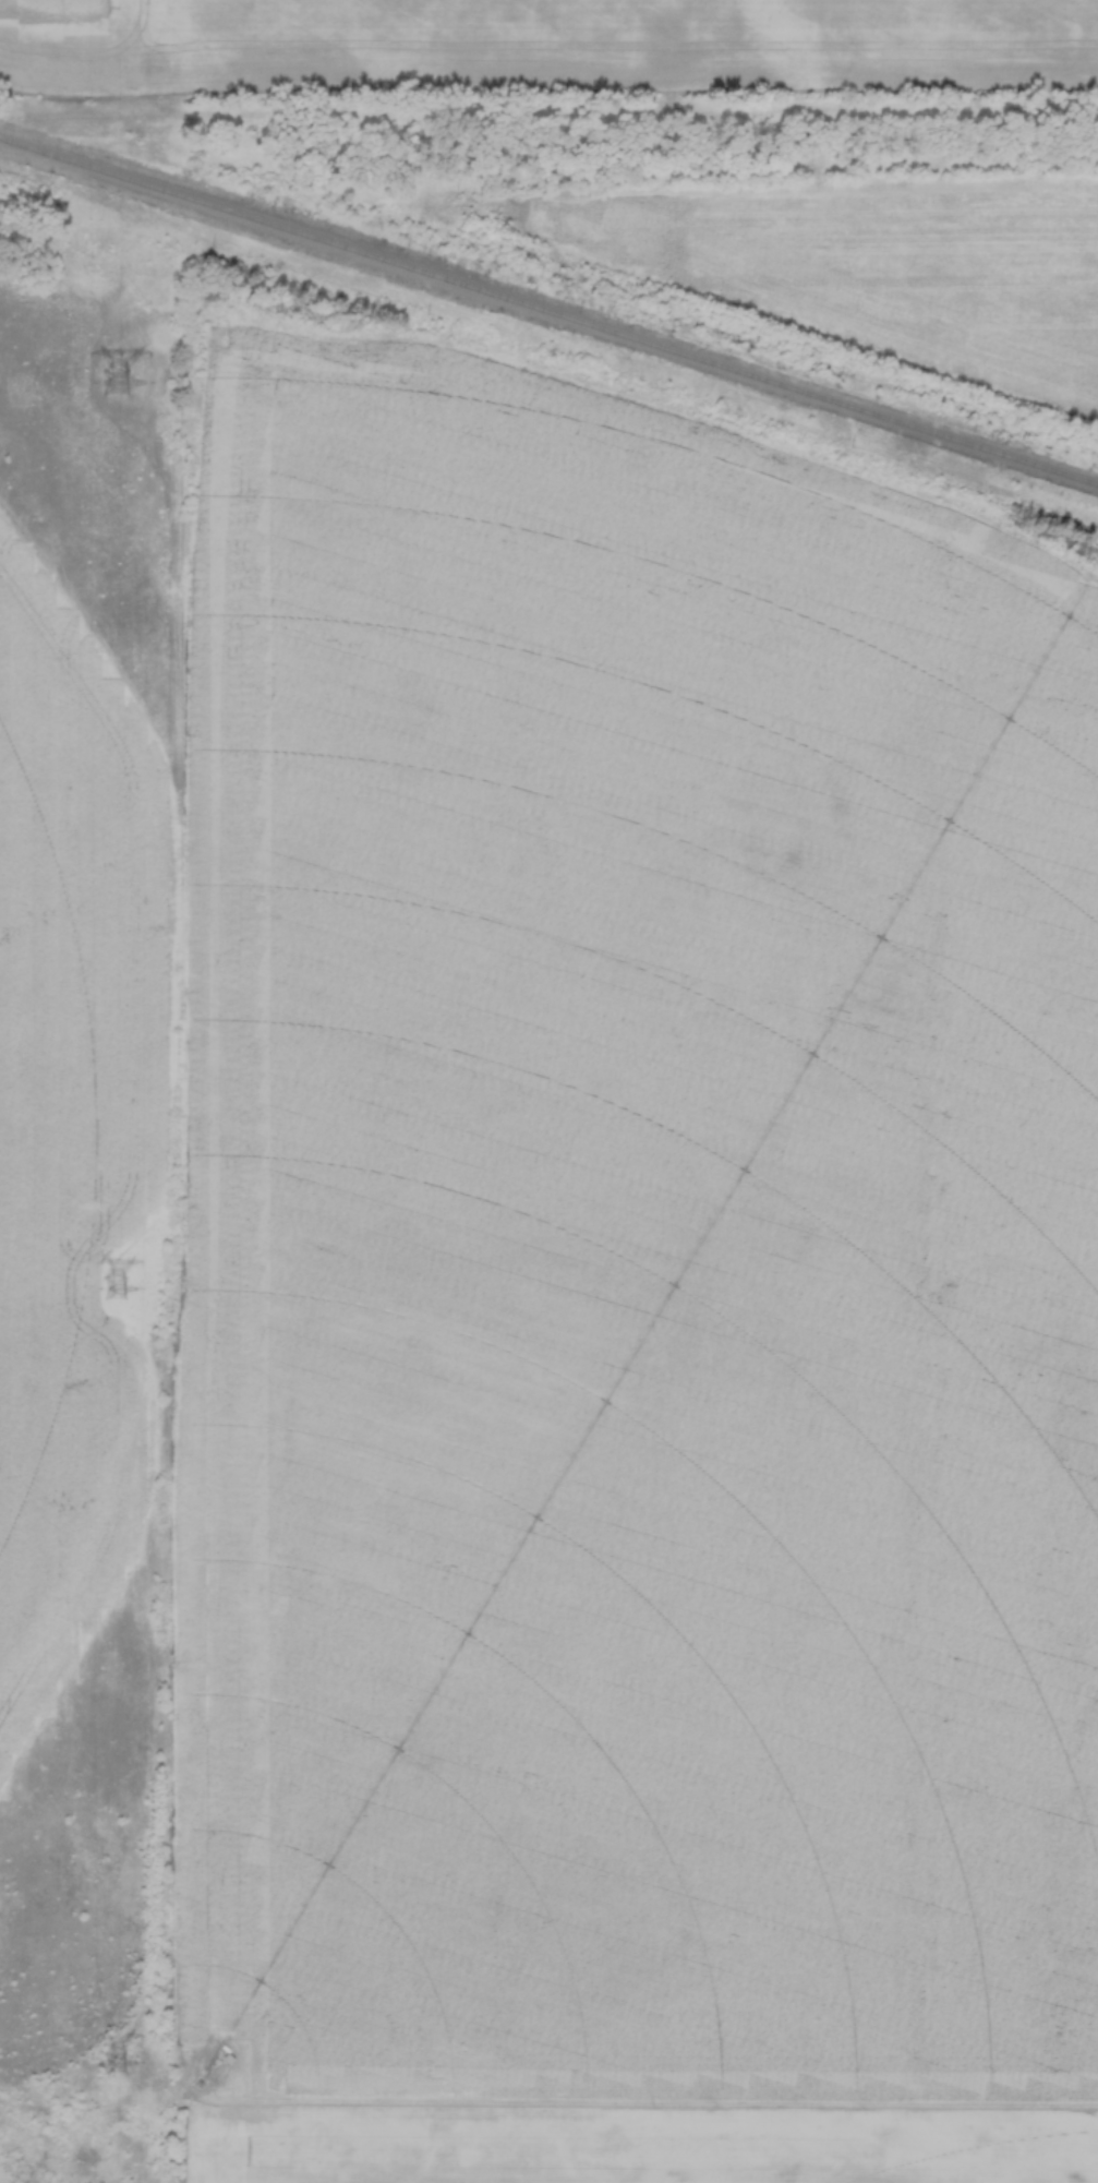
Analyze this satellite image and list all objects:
railway: (548, 304)
power tower: (121, 386)
power tower: (121, 1288)
power tower: (120, 2063)

